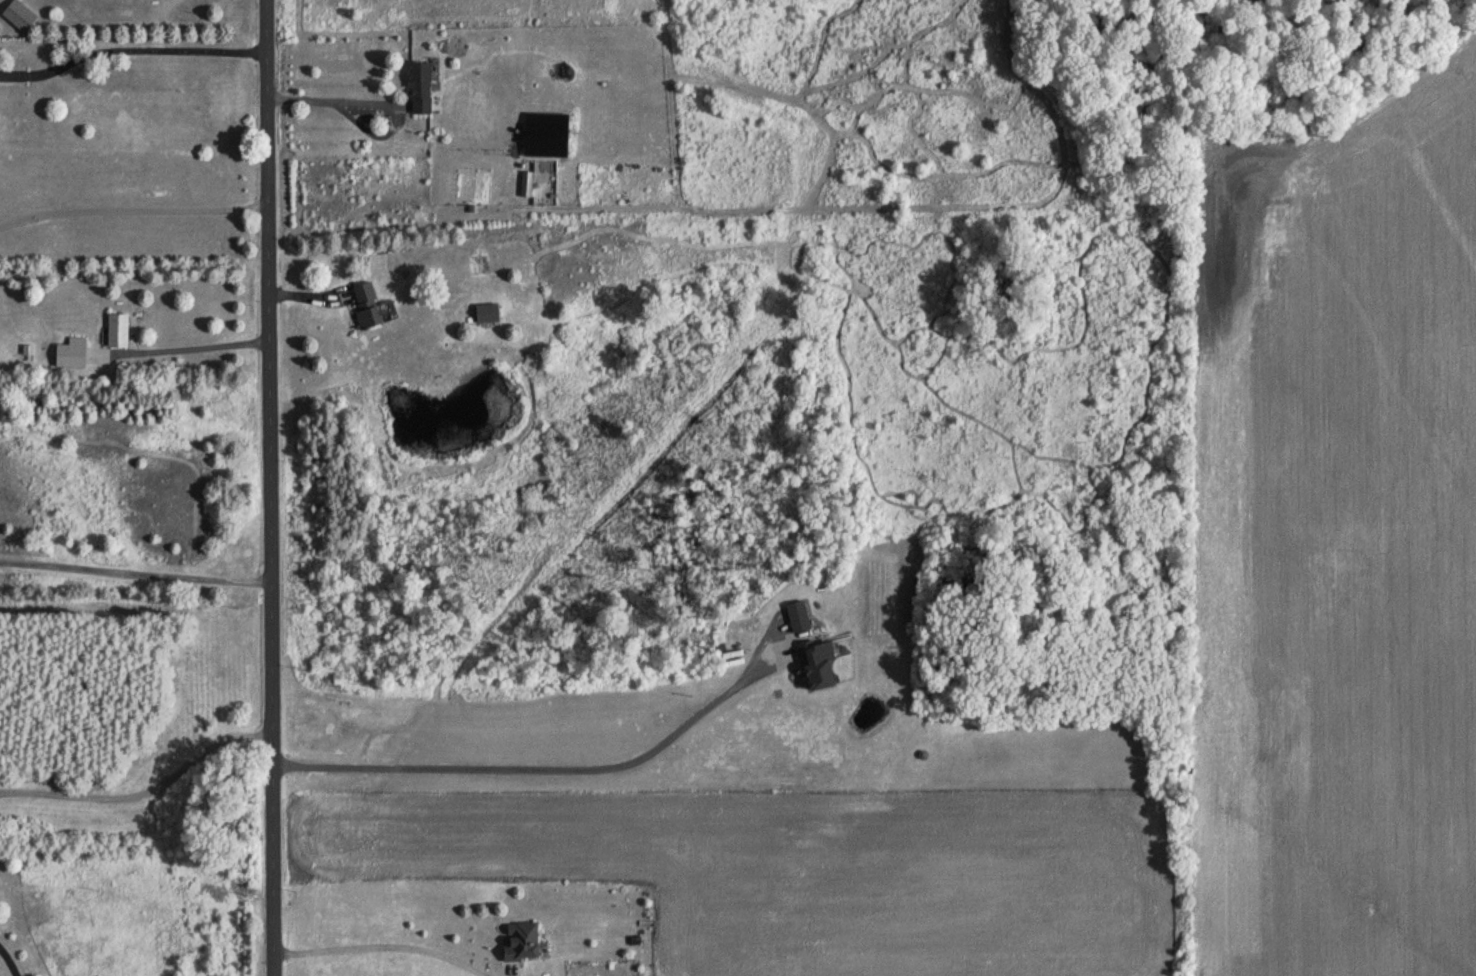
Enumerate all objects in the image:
building: (22, 16)
road: (133, 49)
building: (424, 86)
road: (334, 101)
building: (553, 136)
road: (135, 210)
building: (367, 306)
building: (487, 313)
building: (120, 330)
road: (203, 347)
building: (71, 356)
road: (273, 488)
road: (136, 573)
building: (795, 617)
building: (812, 665)
road: (530, 768)
road: (145, 791)
road: (393, 939)
building: (524, 940)
road: (7, 963)

